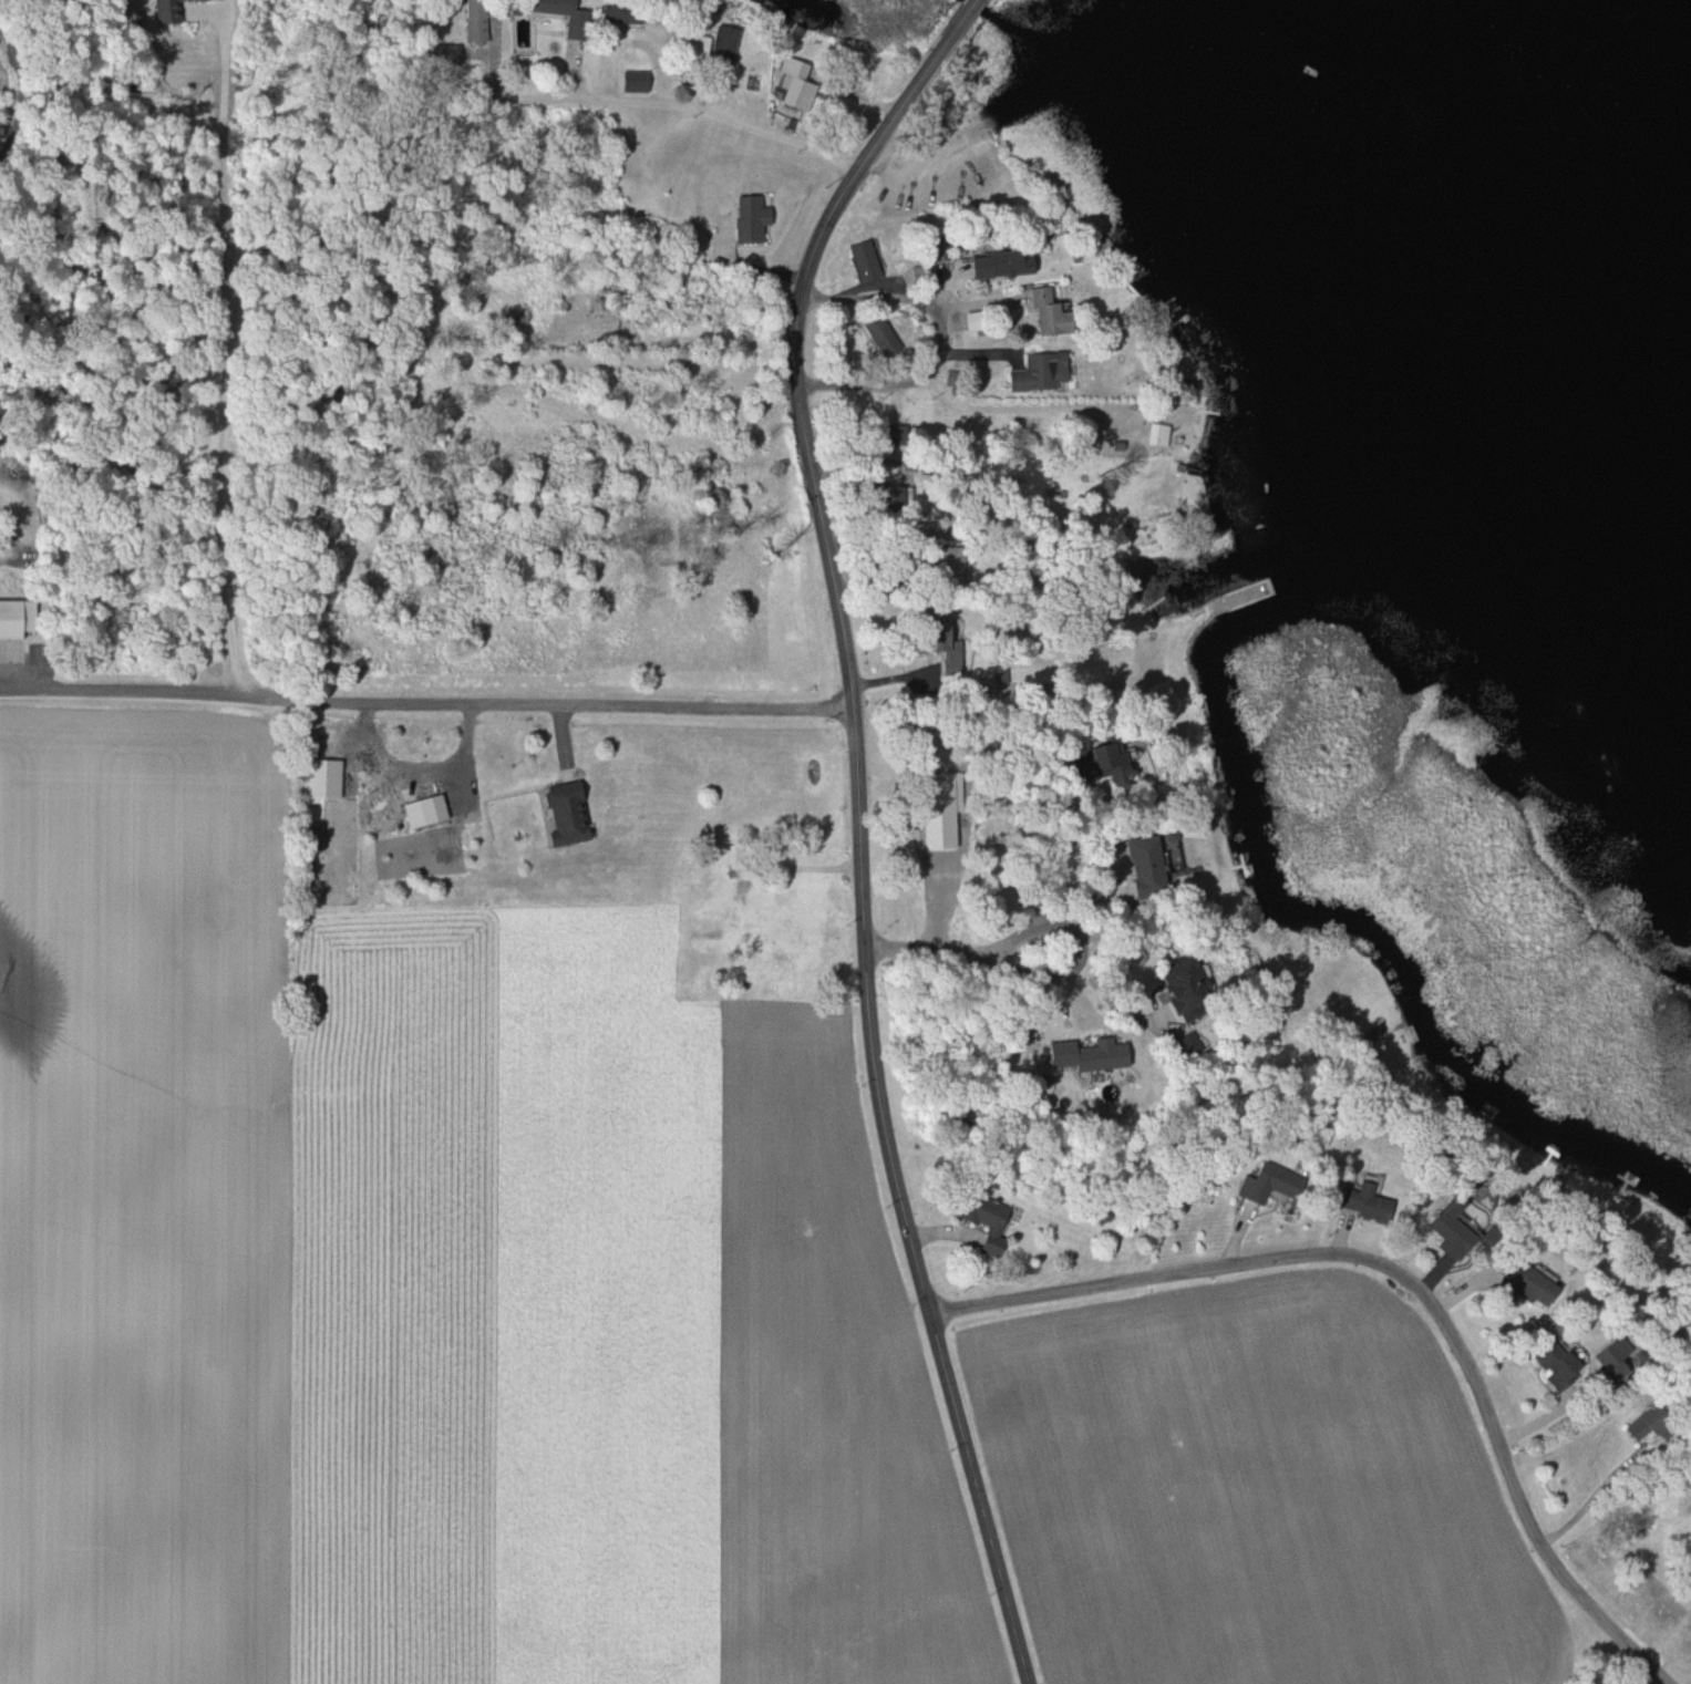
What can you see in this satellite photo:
building: (162, 11)
building: (470, 22)
building: (704, 45)
building: (440, 55)
building: (631, 81)
building: (792, 82)
road: (13, 99)
road: (691, 110)
building: (746, 219)
building: (864, 260)
building: (994, 266)
building: (1043, 311)
building: (878, 335)
road: (941, 343)
road: (218, 358)
building: (1037, 373)
building: (17, 619)
building: (924, 637)
building: (946, 660)
road: (426, 702)
building: (1093, 761)
building: (320, 778)
building: (421, 810)
building: (560, 814)
road: (859, 823)
road: (1013, 847)
building: (1138, 865)
building: (796, 893)
road: (509, 950)
road: (1038, 971)
building: (1174, 974)
road: (1114, 1009)
building: (1267, 1182)
building: (1361, 1201)
building: (983, 1219)
building: (1448, 1230)
road: (1409, 1279)
building: (1519, 1284)
building: (1553, 1365)
building: (1644, 1429)
road: (1592, 1502)

